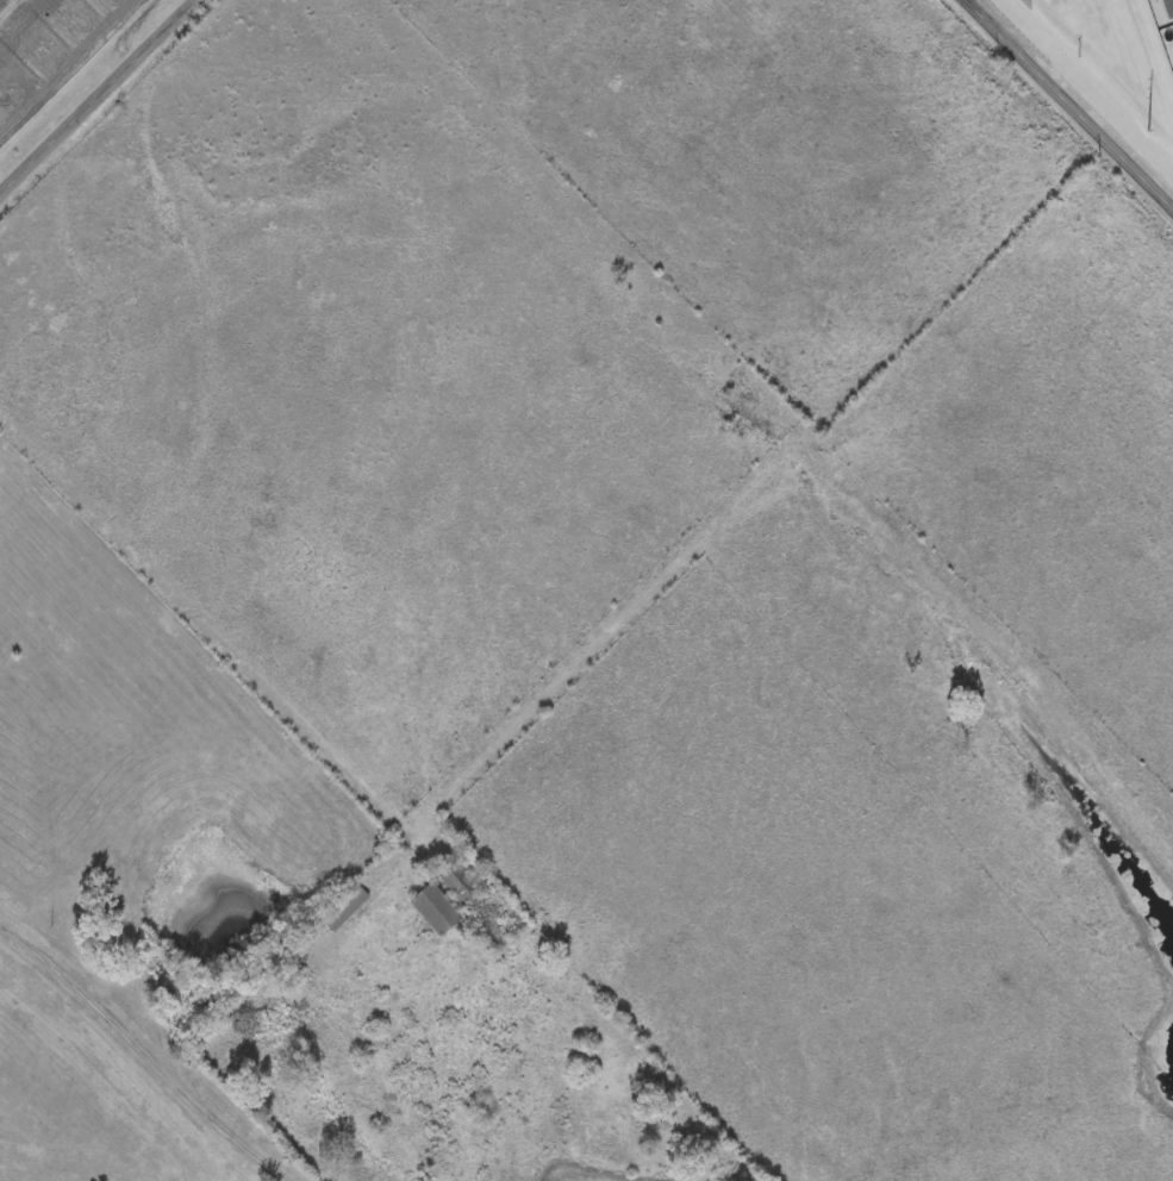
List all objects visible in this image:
road: (98, 96)
road: (1068, 106)
road: (216, 631)
building: (449, 871)
building: (453, 877)
building: (343, 904)
building: (432, 904)
road: (143, 1056)

